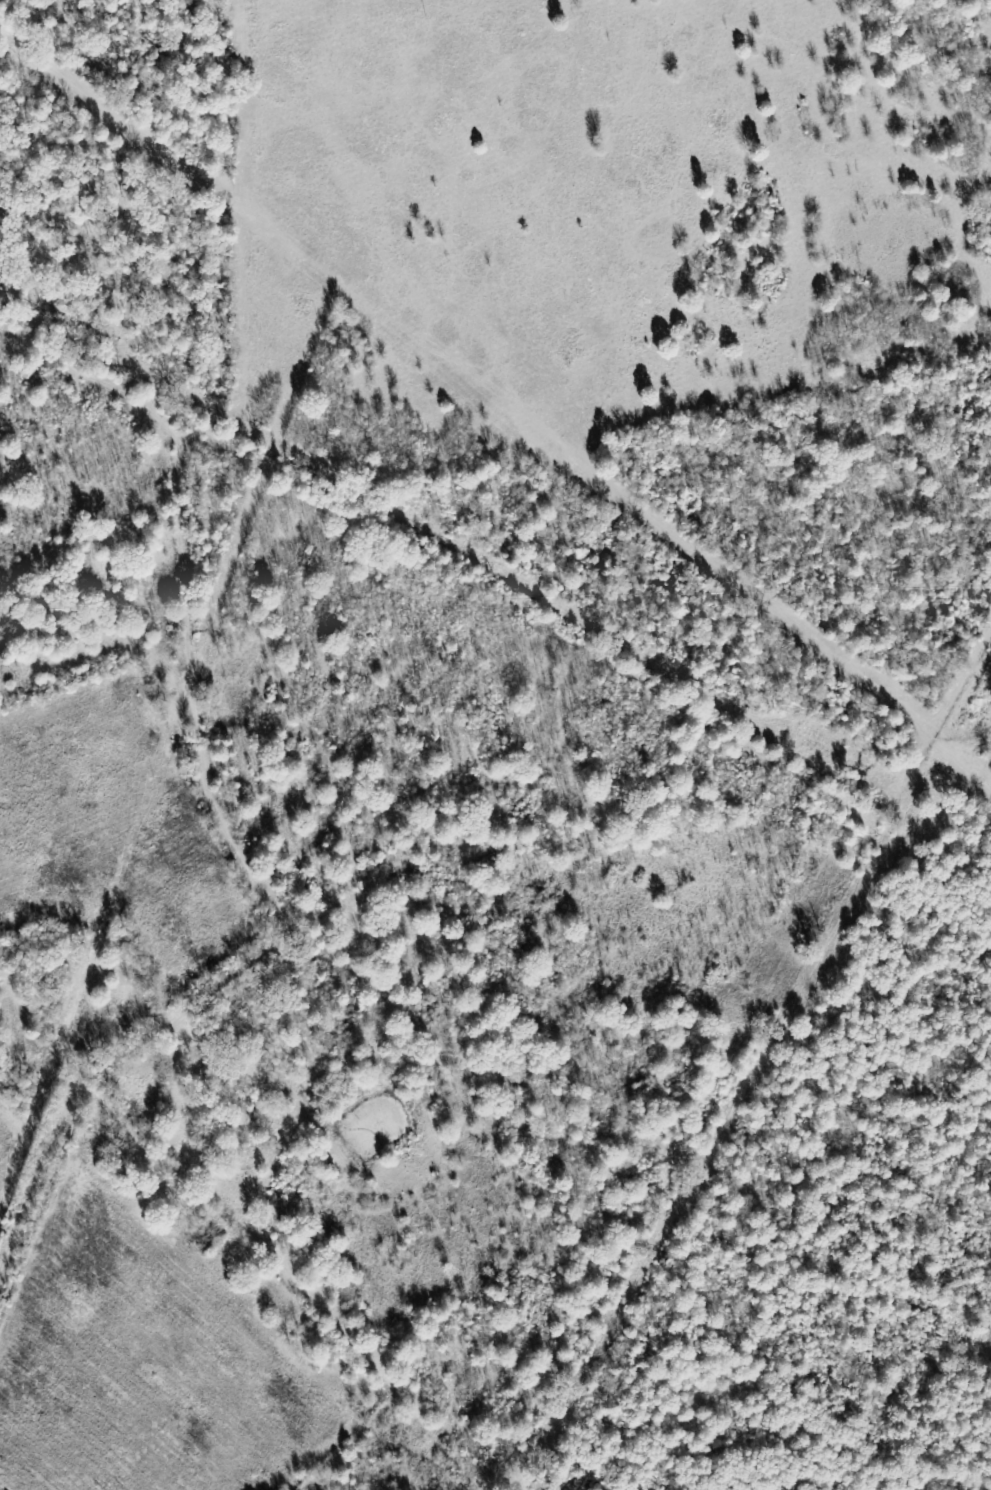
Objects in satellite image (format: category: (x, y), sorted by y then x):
road: (166, 664)

